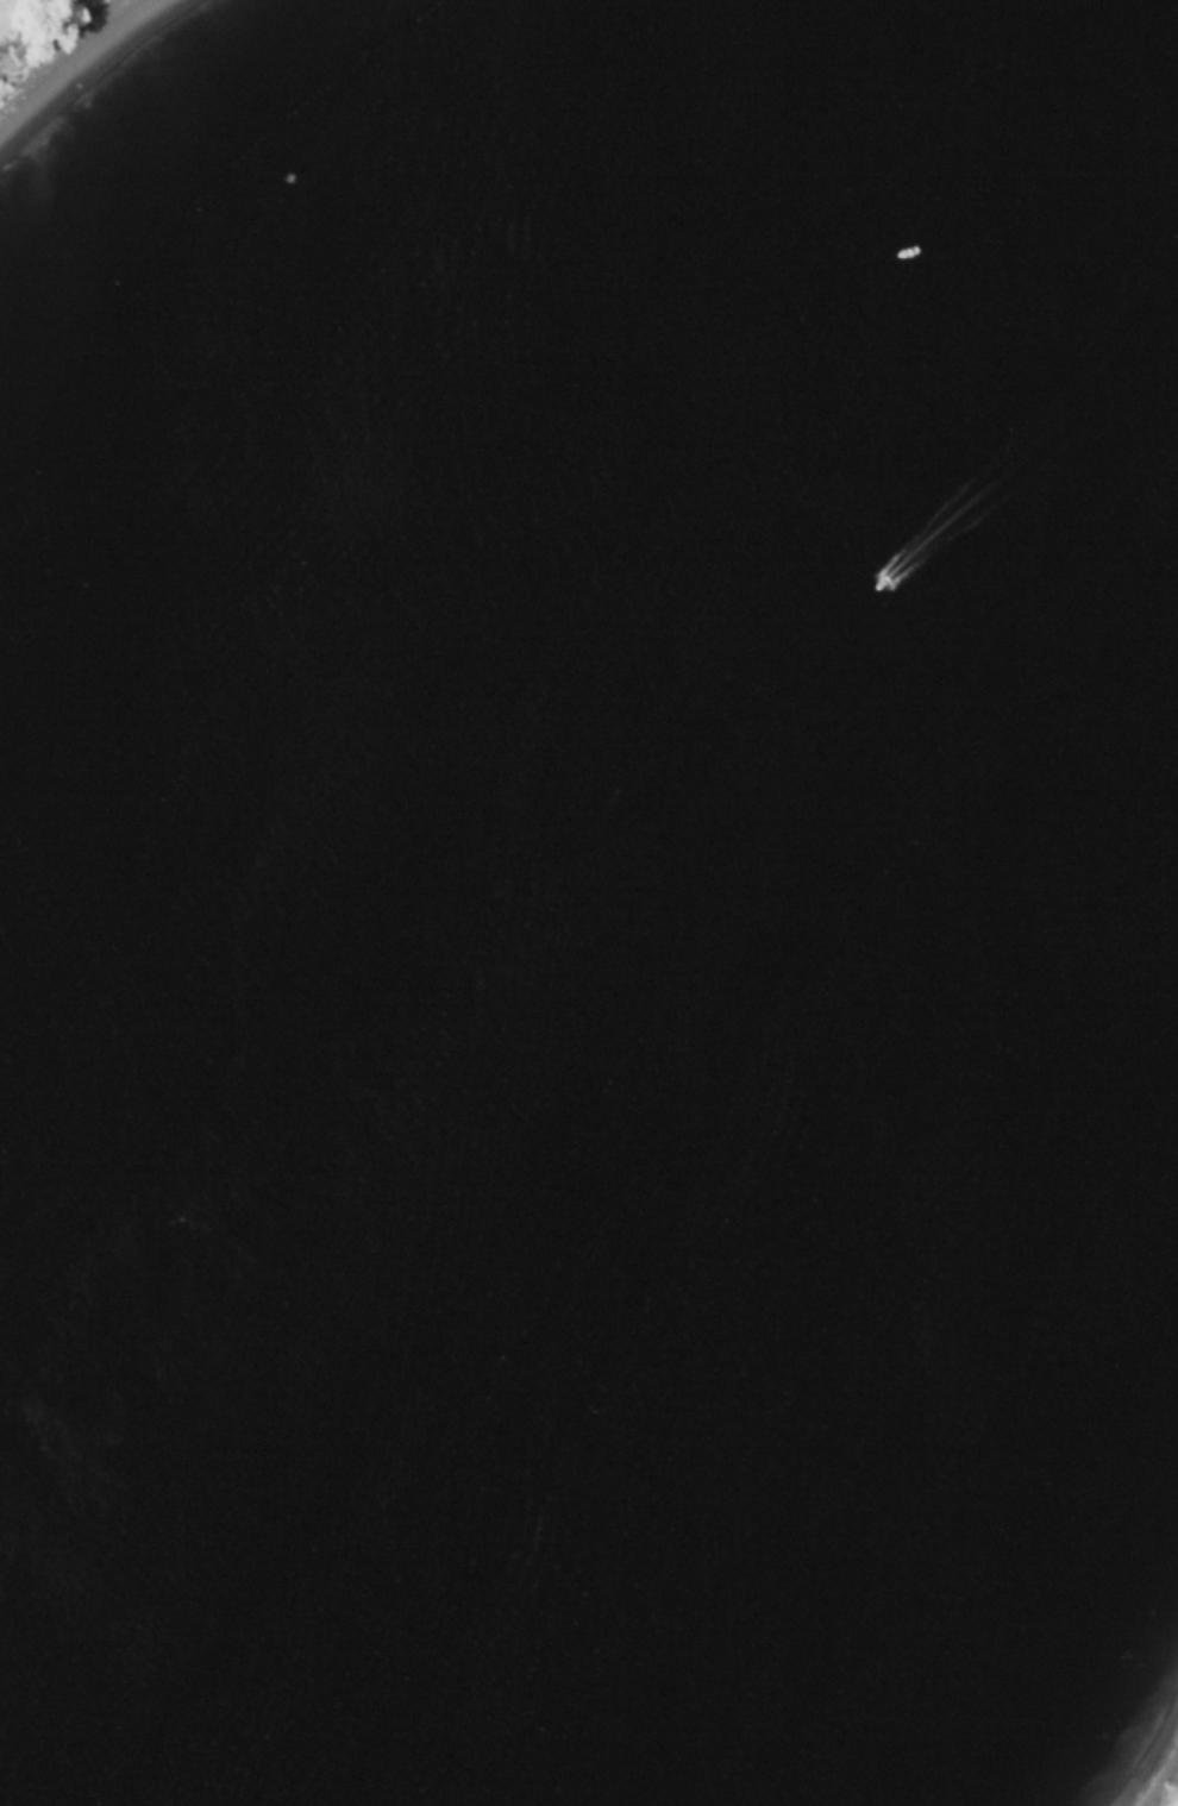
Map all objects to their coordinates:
river: (475, 936)

